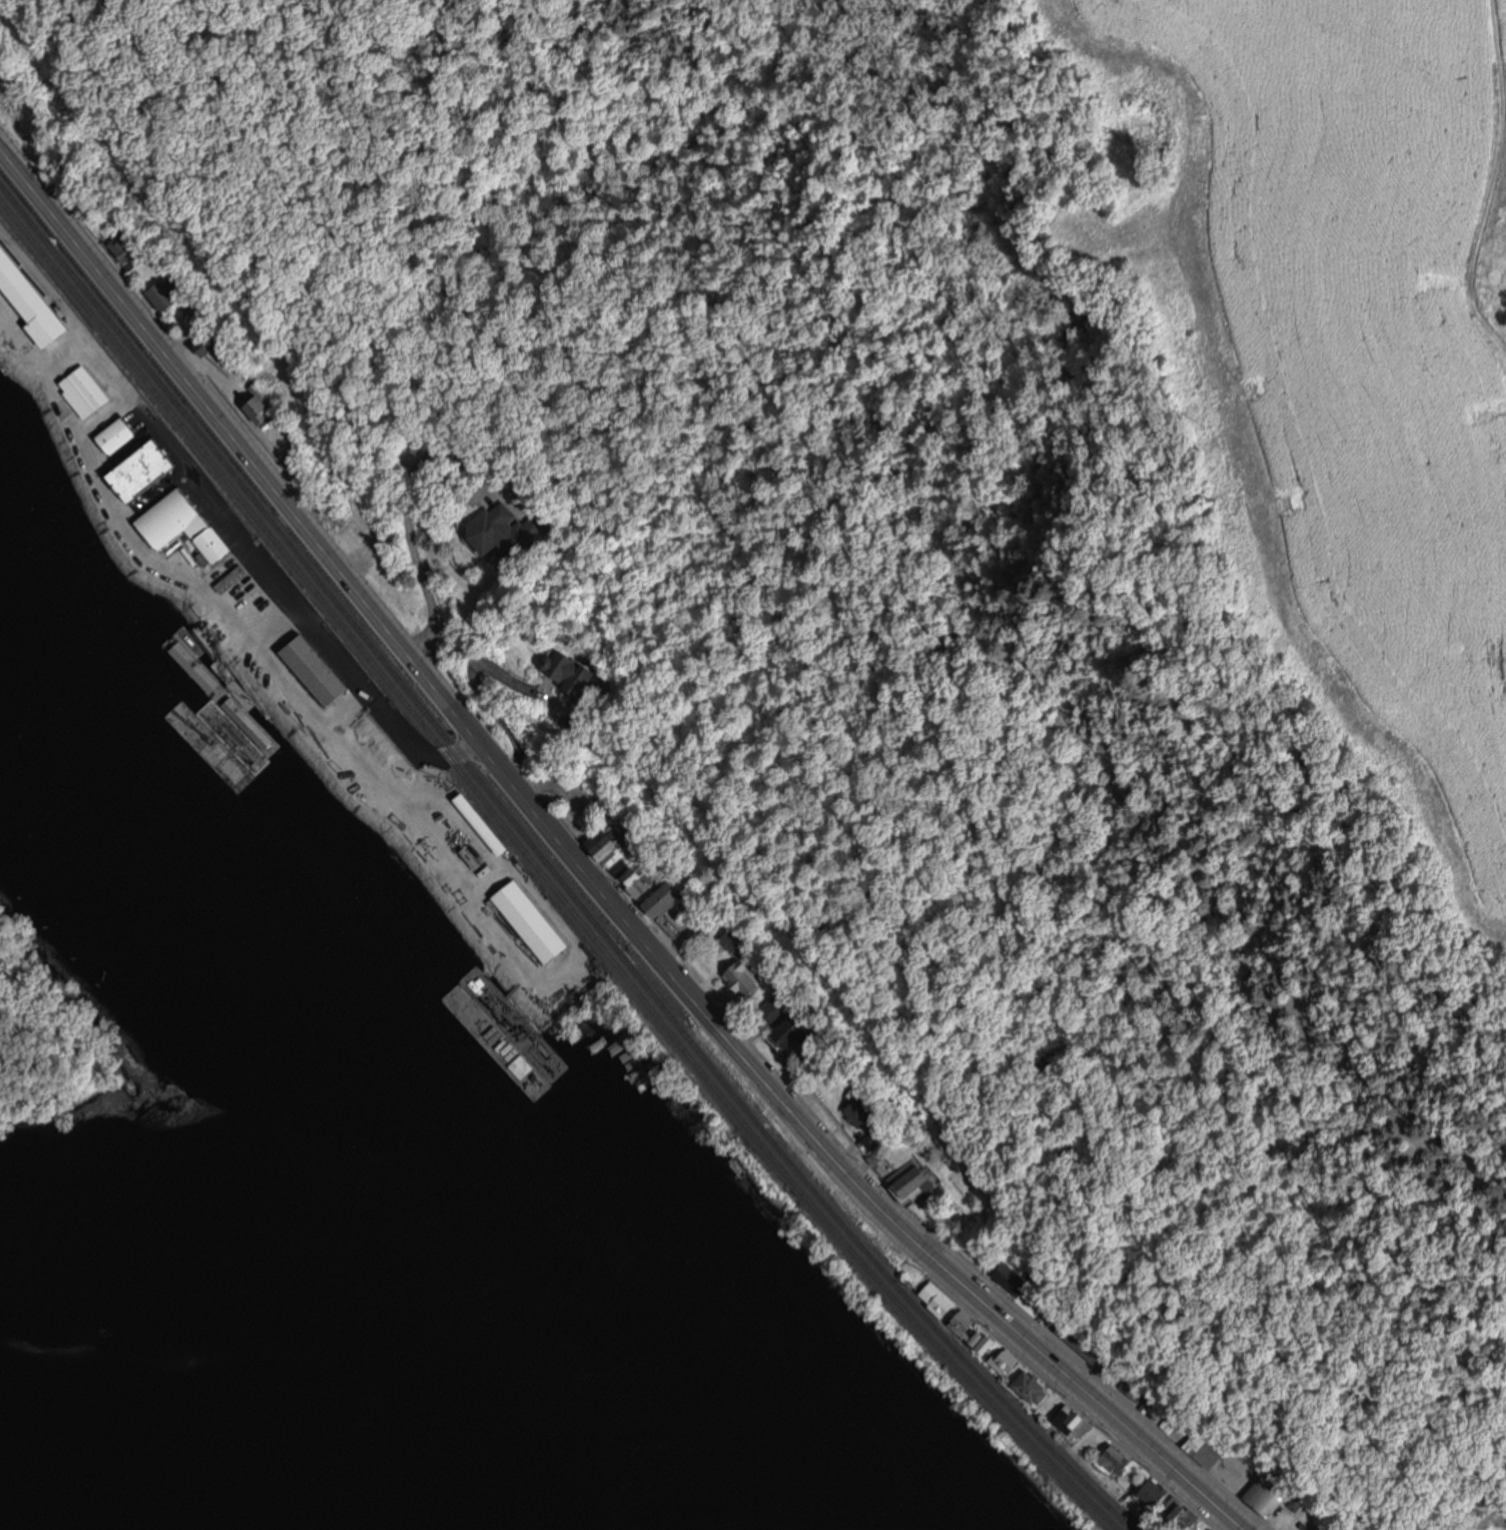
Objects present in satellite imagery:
road: (1495, 179)
road: (300, 608)
building: (313, 663)
building: (604, 842)
railway: (553, 868)
road: (581, 870)
railway: (546, 875)
building: (635, 881)
building: (663, 897)
building: (529, 915)
building: (70, 919)
building: (729, 939)
building: (744, 979)
building: (776, 1004)
building: (797, 1025)
building: (859, 1112)
building: (916, 1179)
building: (1008, 1280)
building: (962, 1324)
building: (989, 1342)
building: (1087, 1349)
building: (1007, 1362)
building: (1131, 1386)
building: (1033, 1387)
building: (1074, 1419)
building: (1201, 1449)
building: (1113, 1458)
building: (1269, 1491)
building: (1153, 1494)
building: (1219, 1528)

